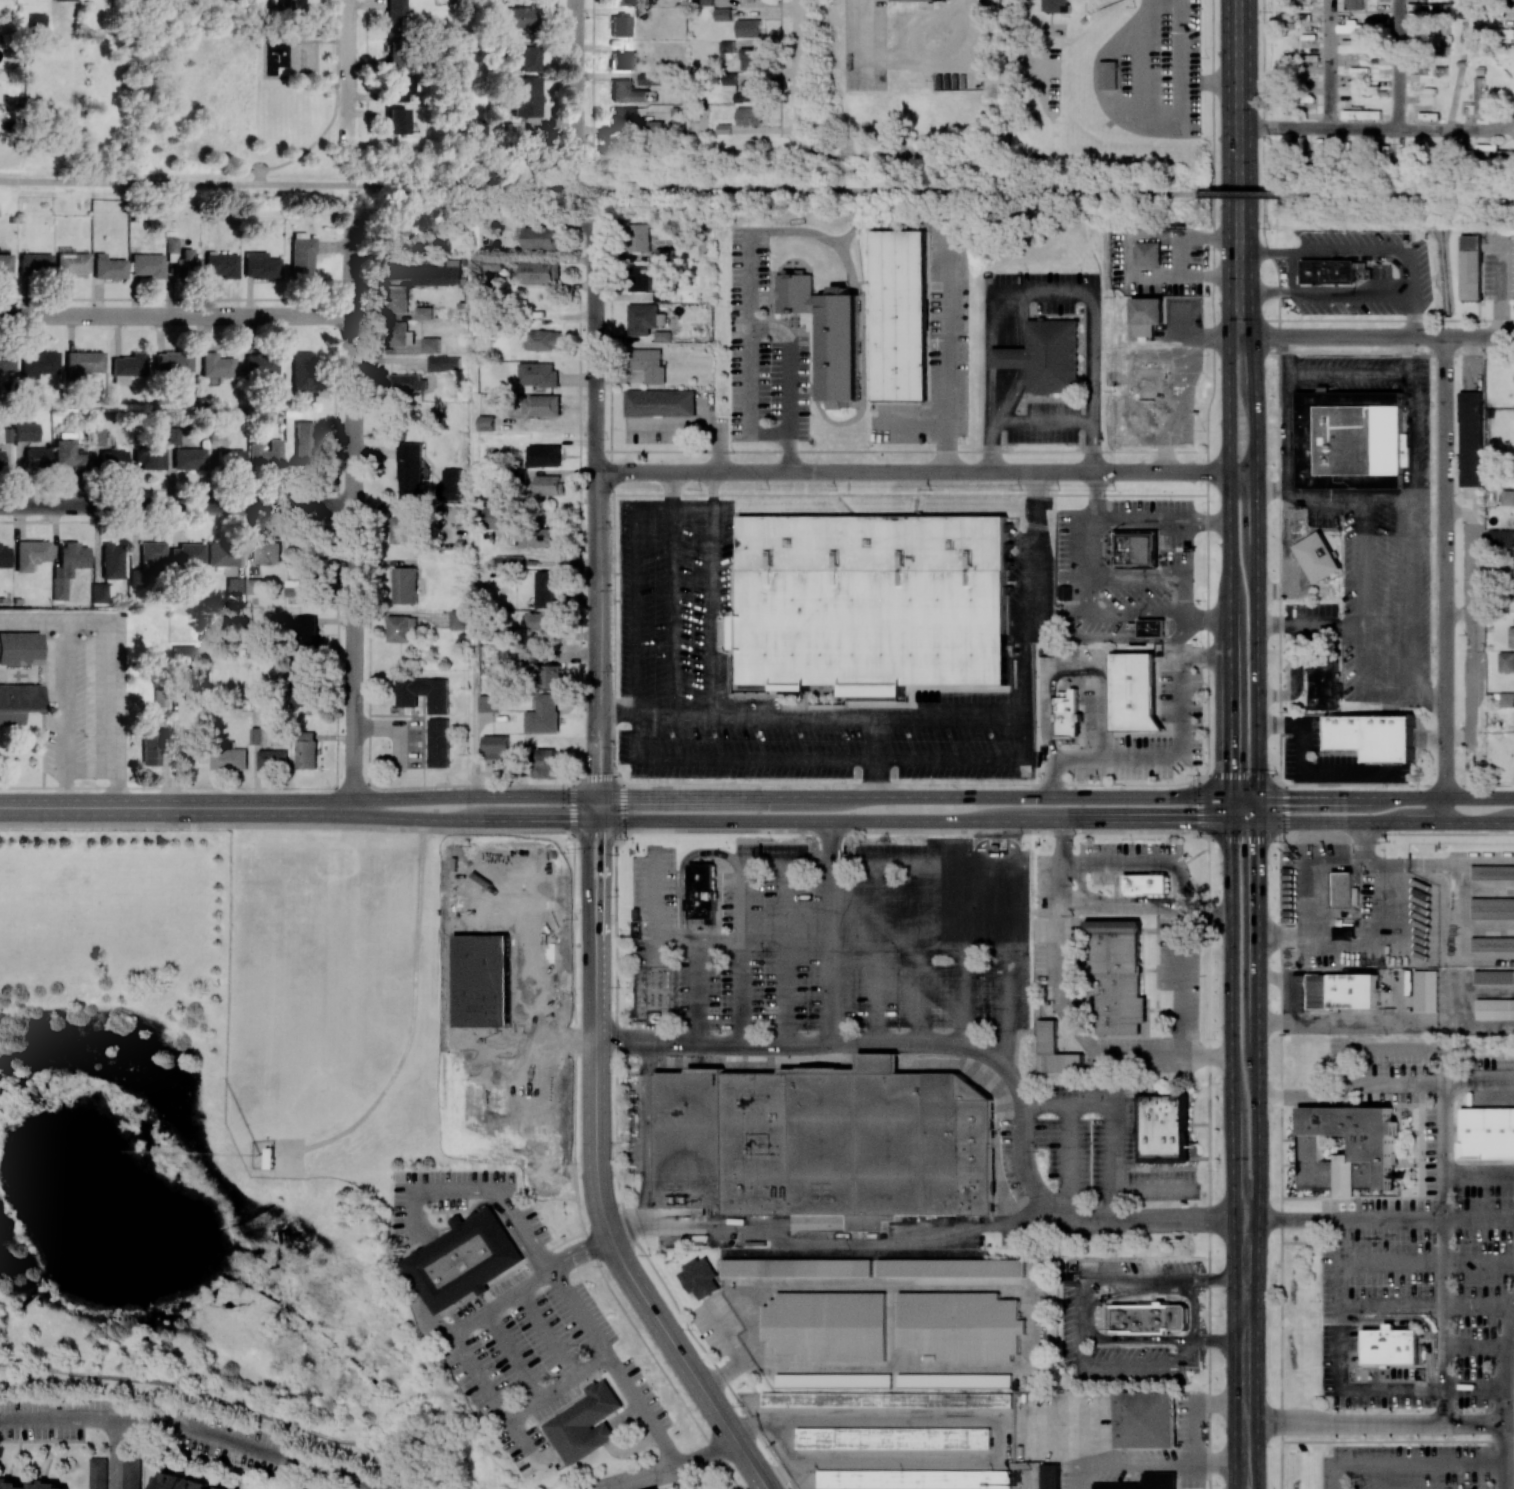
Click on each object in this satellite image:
building: (910, 0)
building: (618, 2)
building: (705, 2)
building: (284, 4)
building: (1353, 4)
building: (1055, 5)
building: (1428, 8)
building: (722, 14)
building: (519, 16)
building: (396, 17)
road: (264, 19)
building: (37, 20)
road: (285, 23)
building: (620, 25)
building: (748, 28)
building: (1355, 28)
building: (1414, 29)
road: (326, 39)
building: (1355, 47)
building: (726, 48)
building: (396, 53)
building: (525, 53)
building: (749, 59)
building: (623, 60)
road: (1327, 64)
road: (1398, 64)
road: (914, 65)
road: (574, 67)
road: (348, 69)
building: (1367, 69)
building: (1427, 69)
road: (797, 70)
road: (1015, 70)
road: (1180, 72)
building: (1108, 74)
road: (316, 75)
building: (650, 78)
building: (400, 87)
building: (1360, 88)
park: (233, 89)
building: (743, 89)
building: (627, 92)
building: (525, 96)
road: (1136, 96)
building: (1478, 99)
road: (333, 113)
building: (1361, 114)
building: (749, 115)
building: (624, 118)
building: (396, 120)
building: (480, 127)
road: (1318, 128)
road: (1457, 129)
building: (656, 131)
road: (1240, 147)
building: (1492, 154)
road: (1014, 166)
road: (129, 183)
road: (727, 191)
road: (1240, 194)
road: (1399, 196)
building: (396, 234)
building: (641, 237)
building: (541, 238)
building: (436, 244)
building: (1147, 253)
building: (301, 256)
road: (1125, 256)
road: (1173, 256)
building: (182, 259)
building: (71, 263)
building: (5, 264)
building: (35, 264)
building: (147, 264)
building: (222, 264)
building: (261, 265)
building: (493, 266)
building: (1471, 267)
building: (109, 268)
building: (424, 271)
building: (1327, 271)
building: (541, 272)
road: (1414, 274)
building: (640, 279)
road: (1041, 290)
building: (795, 291)
road: (749, 297)
building: (397, 300)
building: (423, 312)
road: (176, 314)
building: (901, 314)
building: (1146, 315)
road: (1246, 315)
road: (1409, 316)
building: (644, 318)
building: (400, 334)
building: (662, 336)
road: (1370, 336)
building: (544, 340)
building: (430, 345)
building: (839, 347)
building: (1046, 356)
road: (1412, 356)
road: (1291, 357)
building: (7, 360)
building: (173, 361)
building: (84, 362)
building: (261, 363)
building: (444, 363)
building: (39, 364)
building: (129, 364)
building: (649, 364)
building: (216, 365)
road: (952, 365)
building: (303, 371)
building: (537, 374)
road: (1353, 377)
building: (406, 382)
road: (1413, 386)
building: (1149, 393)
building: (660, 402)
building: (542, 405)
building: (485, 423)
road: (1040, 423)
building: (26, 431)
road: (690, 431)
building: (5, 434)
building: (1471, 439)
building: (1349, 440)
building: (304, 443)
road: (1412, 447)
road: (1287, 452)
building: (266, 453)
building: (70, 454)
building: (544, 455)
building: (36, 456)
building: (150, 456)
building: (230, 457)
building: (189, 458)
building: (0, 459)
building: (113, 459)
road: (594, 468)
building: (409, 471)
road: (926, 473)
building: (449, 485)
building: (548, 485)
road: (671, 490)
road: (711, 490)
road: (1325, 497)
road: (1387, 497)
building: (1508, 497)
road: (1097, 504)
road: (176, 505)
parking lot: (736, 505)
road: (691, 508)
road: (352, 516)
building: (499, 517)
road: (1175, 521)
building: (402, 526)
building: (536, 535)
building: (1503, 538)
road: (1229, 544)
building: (1136, 549)
building: (268, 552)
building: (31, 553)
building: (188, 553)
building: (222, 553)
building: (4, 556)
road: (1289, 557)
building: (1318, 557)
building: (112, 560)
building: (148, 561)
building: (68, 566)
road: (1257, 566)
road: (1146, 577)
road: (1445, 578)
building: (304, 579)
building: (254, 585)
building: (404, 585)
building: (545, 587)
building: (235, 589)
road: (1090, 591)
building: (99, 592)
road: (637, 592)
road: (1362, 597)
road: (472, 598)
road: (1413, 598)
parking lot: (676, 604)
building: (876, 606)
road: (672, 612)
road: (710, 612)
road: (1140, 616)
road: (1458, 616)
building: (458, 619)
building: (541, 620)
road: (1279, 626)
road: (1331, 627)
building: (400, 628)
building: (1153, 628)
road: (1472, 628)
building: (306, 633)
building: (502, 633)
building: (1511, 636)
road: (1121, 641)
building: (20, 648)
road: (1182, 650)
road: (117, 655)
building: (184, 655)
road: (1299, 659)
building: (1506, 661)
road: (1070, 672)
building: (552, 675)
building: (1325, 678)
building: (302, 684)
building: (424, 693)
building: (1134, 694)
road: (1278, 695)
road: (1403, 698)
building: (1507, 699)
building: (18, 702)
building: (488, 703)
road: (64, 714)
building: (1067, 714)
building: (543, 715)
road: (936, 716)
building: (256, 735)
building: (1376, 736)
building: (438, 743)
building: (190, 746)
building: (495, 746)
building: (151, 748)
building: (306, 750)
road: (591, 754)
road: (606, 754)
road: (875, 756)
building: (229, 757)
road: (1174, 757)
building: (273, 759)
road: (830, 762)
building: (545, 763)
traffic signals: (1230, 765)
road: (1303, 775)
traffic signals: (592, 795)
traffic signals: (607, 795)
road: (762, 795)
road: (1243, 797)
traffic signals: (1293, 797)
road: (1385, 797)
road: (147, 807)
road: (1230, 809)
traffic signals: (585, 821)
traffic signals: (606, 821)
road: (762, 821)
traffic signals: (1190, 822)
road: (1372, 822)
road: (303, 824)
road: (1360, 835)
road: (829, 843)
traffic signals: (1257, 850)
road: (585, 854)
road: (605, 855)
road: (1145, 861)
road: (808, 866)
road: (683, 871)
building: (1493, 872)
road: (1006, 879)
road: (742, 881)
building: (1146, 885)
building: (1343, 887)
building: (702, 892)
road: (655, 895)
road: (418, 899)
building: (1492, 907)
road: (1106, 910)
road: (1285, 938)
road: (698, 941)
building: (1492, 943)
road: (1350, 946)
road: (787, 955)
road: (829, 955)
road: (878, 955)
road: (922, 955)
road: (966, 955)
road: (1180, 960)
building: (1118, 977)
building: (1494, 977)
building: (397, 984)
building: (1426, 990)
building: (1342, 991)
road: (694, 992)
road: (742, 992)
road: (1257, 1007)
building: (1495, 1008)
road: (1067, 1010)
road: (1231, 1020)
road: (978, 1049)
building: (1054, 1051)
road: (1381, 1081)
building: (1163, 1127)
building: (1487, 1133)
road: (646, 1134)
road: (1112, 1135)
building: (826, 1142)
building: (1345, 1149)
road: (595, 1152)
road: (1069, 1160)
road: (1281, 1163)
road: (1444, 1164)
road: (499, 1198)
road: (1443, 1198)
road: (1112, 1203)
road: (1379, 1218)
building: (455, 1220)
road: (828, 1243)
building: (462, 1260)
road: (1478, 1262)
road: (1392, 1264)
building: (798, 1267)
building: (952, 1267)
building: (700, 1277)
road: (1215, 1279)
road: (1167, 1280)
road: (1478, 1307)
road: (1393, 1308)
building: (1148, 1318)
road: (1443, 1320)
building: (827, 1325)
building: (960, 1325)
road: (1246, 1339)
road: (598, 1340)
road: (1219, 1343)
road: (1476, 1346)
road: (460, 1349)
building: (1395, 1349)
road: (1344, 1355)
road: (1104, 1364)
building: (833, 1380)
building: (954, 1381)
road: (557, 1385)
road: (1475, 1389)
road: (1507, 1399)
building: (887, 1400)
road: (1193, 1406)
building: (1145, 1419)
building: (584, 1423)
road: (1376, 1423)
road: (728, 1427)
road: (190, 1430)
building: (894, 1438)
road: (1055, 1445)
road: (115, 1454)
road: (1411, 1464)
road: (666, 1468)
building: (98, 1473)
building: (132, 1473)
road: (1238, 1475)
road: (1251, 1475)
road: (687, 1476)
building: (1050, 1476)
building: (911, 1479)
building: (1144, 1482)
building: (185, 1483)
building: (46, 1484)
building: (290, 1488)
building: (659, 1488)

